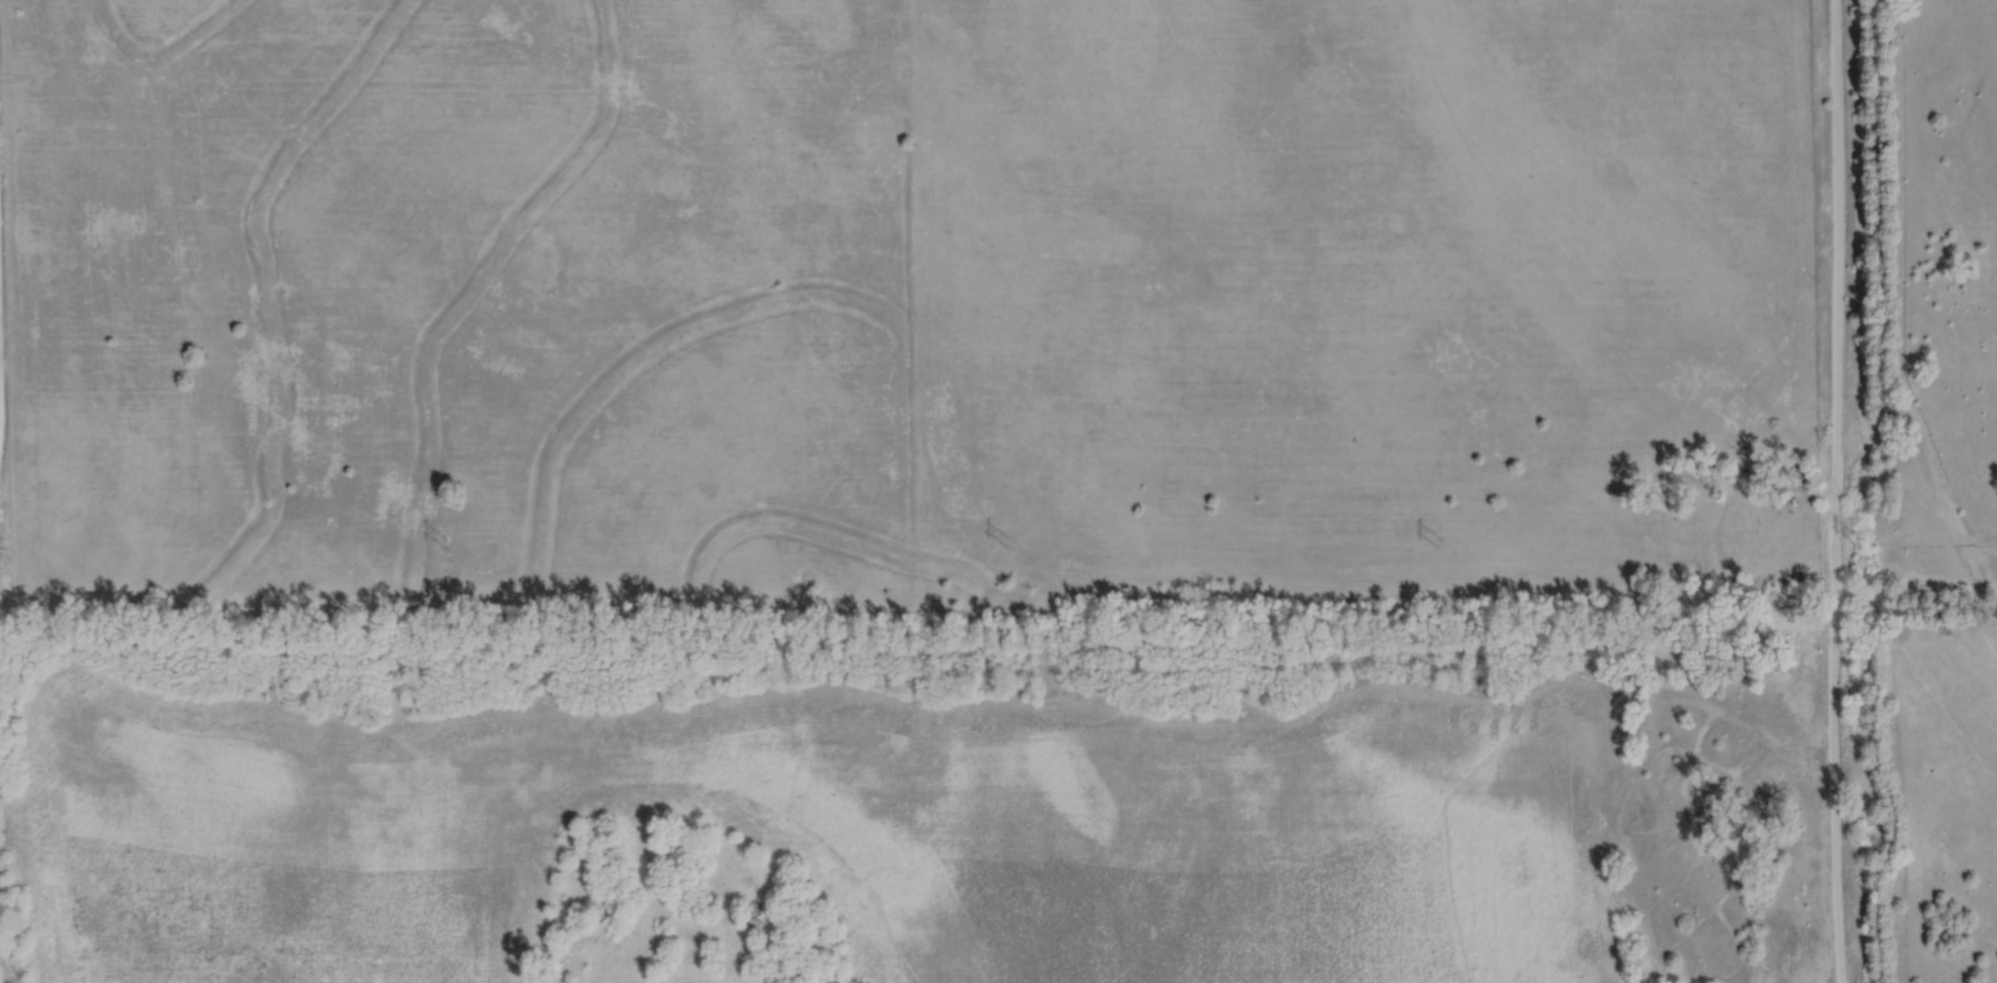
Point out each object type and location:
road: (1832, 491)
power tower: (1008, 538)
power tower: (1438, 538)
power tower: (1860, 538)
power tower: (2, 539)
power tower: (445, 539)
building: (754, 911)

